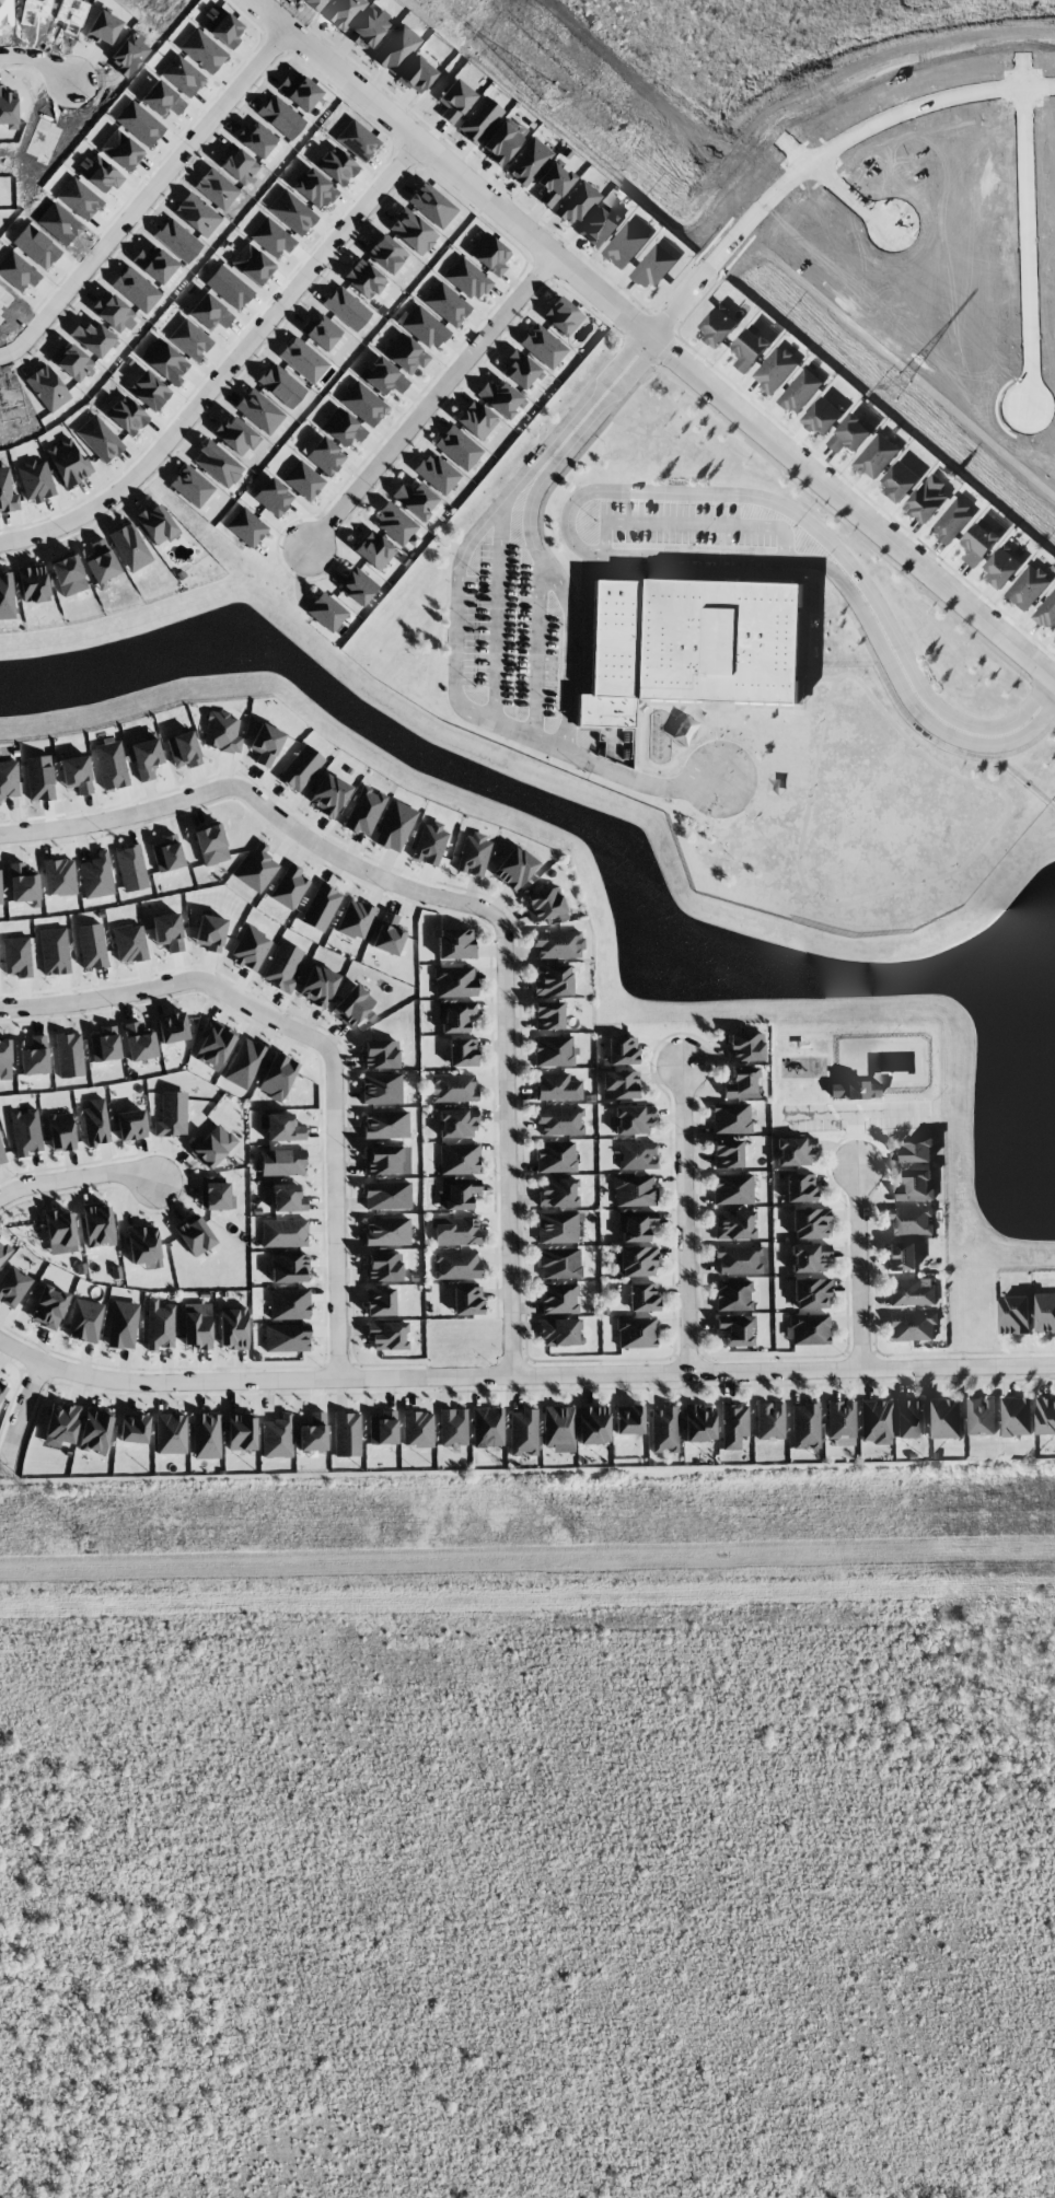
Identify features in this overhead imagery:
building: (343, 12)
power tower: (467, 24)
building: (221, 26)
building: (103, 27)
building: (369, 28)
building: (396, 48)
road: (38, 65)
road: (334, 73)
building: (416, 74)
building: (182, 75)
building: (299, 92)
building: (162, 98)
building: (454, 100)
building: (8, 109)
building: (280, 117)
building: (478, 119)
building: (138, 123)
road: (857, 130)
building: (256, 139)
building: (357, 140)
building: (502, 140)
building: (118, 149)
building: (527, 161)
building: (237, 164)
building: (336, 165)
building: (98, 172)
building: (554, 182)
road: (830, 185)
building: (313, 188)
road: (146, 201)
building: (577, 202)
building: (431, 205)
building: (291, 212)
building: (196, 214)
building: (601, 225)
road: (1021, 226)
building: (411, 231)
building: (271, 237)
building: (177, 240)
building: (35, 245)
building: (625, 245)
building: (385, 253)
building: (489, 254)
building: (252, 264)
building: (154, 265)
building: (653, 267)
building: (16, 271)
power tower: (762, 274)
building: (363, 279)
building: (467, 279)
building: (228, 287)
building: (136, 289)
road: (680, 302)
building: (447, 304)
building: (346, 307)
building: (209, 312)
building: (113, 313)
building: (561, 315)
building: (719, 325)
building: (422, 326)
building: (321, 330)
road: (262, 335)
building: (92, 337)
building: (189, 339)
building: (543, 346)
building: (746, 349)
building: (405, 353)
building: (164, 360)
building: (303, 360)
building: (72, 362)
building: (520, 369)
building: (774, 371)
building: (384, 377)
building: (281, 385)
building: (47, 387)
building: (148, 391)
building: (798, 392)
building: (501, 398)
road: (430, 399)
building: (363, 403)
road: (594, 406)
building: (258, 410)
building: (823, 415)
building: (475, 419)
building: (343, 427)
building: (234, 434)
building: (850, 435)
building: (98, 439)
road: (777, 442)
building: (457, 447)
building: (323, 455)
building: (874, 456)
building: (68, 463)
building: (217, 464)
building: (437, 473)
building: (35, 480)
building: (303, 480)
building: (900, 480)
building: (190, 486)
building: (7, 491)
building: (273, 497)
building: (415, 499)
building: (926, 501)
power tower: (1052, 520)
building: (394, 523)
road: (561, 523)
building: (950, 523)
building: (155, 524)
building: (246, 526)
building: (129, 546)
building: (976, 547)
building: (373, 549)
building: (101, 562)
building: (999, 569)
building: (68, 574)
building: (33, 584)
building: (356, 585)
building: (1028, 589)
building: (7, 595)
building: (326, 612)
building: (1046, 613)
building: (687, 644)
building: (586, 653)
building: (802, 689)
road: (919, 699)
building: (221, 732)
road: (514, 740)
building: (265, 744)
building: (183, 749)
building: (146, 758)
building: (111, 765)
building: (300, 768)
building: (76, 774)
building: (38, 778)
building: (8, 779)
road: (634, 780)
road: (228, 786)
building: (328, 794)
building: (363, 811)
building: (395, 826)
building: (430, 842)
building: (210, 844)
building: (166, 853)
building: (473, 854)
building: (131, 868)
building: (256, 868)
building: (514, 869)
building: (96, 875)
building: (58, 876)
building: (23, 883)
building: (289, 886)
building: (0, 889)
building: (544, 903)
building: (321, 907)
building: (356, 919)
building: (167, 931)
building: (210, 932)
building: (387, 934)
building: (129, 943)
building: (455, 943)
building: (557, 944)
building: (91, 945)
building: (251, 949)
building: (54, 951)
building: (16, 956)
building: (282, 966)
building: (553, 980)
building: (454, 981)
building: (317, 986)
building: (352, 1005)
building: (455, 1015)
building: (548, 1015)
building: (172, 1027)
building: (139, 1042)
building: (104, 1044)
building: (213, 1044)
building: (744, 1046)
building: (554, 1050)
building: (622, 1050)
building: (462, 1053)
building: (380, 1054)
building: (69, 1055)
building: (34, 1056)
building: (4, 1059)
building: (244, 1063)
building: (277, 1077)
building: (743, 1083)
building: (619, 1084)
building: (556, 1086)
building: (452, 1088)
building: (381, 1089)
building: (855, 1090)
road: (333, 1091)
road: (506, 1110)
building: (172, 1114)
building: (730, 1118)
building: (633, 1119)
building: (560, 1121)
building: (95, 1123)
building: (456, 1123)
building: (385, 1124)
building: (130, 1125)
building: (282, 1127)
building: (26, 1131)
building: (60, 1131)
building: (212, 1147)
building: (917, 1150)
building: (793, 1151)
building: (727, 1153)
building: (2, 1155)
building: (636, 1155)
building: (556, 1156)
building: (459, 1159)
building: (386, 1160)
building: (282, 1162)
road: (79, 1183)
building: (917, 1186)
building: (800, 1187)
building: (732, 1188)
building: (634, 1190)
building: (558, 1191)
building: (456, 1193)
building: (215, 1195)
building: (386, 1195)
building: (288, 1198)
road: (685, 1218)
building: (911, 1221)
building: (810, 1223)
building: (733, 1224)
building: (97, 1225)
building: (635, 1225)
building: (558, 1226)
building: (386, 1231)
building: (59, 1232)
building: (456, 1232)
building: (283, 1233)
building: (195, 1234)
building: (143, 1245)
building: (4, 1249)
building: (809, 1257)
building: (902, 1257)
building: (741, 1259)
building: (635, 1261)
building: (559, 1263)
building: (456, 1265)
building: (383, 1267)
road: (858, 1267)
building: (289, 1268)
building: (13, 1286)
building: (912, 1292)
building: (811, 1293)
building: (734, 1295)
building: (642, 1296)
building: (558, 1298)
building: (466, 1300)
building: (380, 1301)
building: (289, 1303)
building: (49, 1306)
building: (1044, 1313)
building: (1013, 1315)
building: (84, 1319)
building: (123, 1324)
building: (160, 1325)
building: (196, 1325)
building: (232, 1326)
building: (912, 1326)
building: (735, 1329)
building: (808, 1329)
building: (560, 1331)
building: (636, 1333)
building: (387, 1335)
building: (286, 1337)
road: (743, 1370)
road: (164, 1383)
building: (2, 1389)
road: (20, 1415)
building: (981, 1417)
building: (1016, 1417)
building: (1045, 1417)
building: (911, 1418)
building: (946, 1418)
building: (628, 1419)
building: (769, 1420)
building: (840, 1421)
building: (876, 1421)
building: (698, 1422)
building: (60, 1424)
building: (593, 1424)
building: (733, 1426)
building: (804, 1426)
building: (452, 1427)
building: (487, 1427)
building: (134, 1428)
building: (382, 1428)
building: (558, 1428)
building: (417, 1429)
building: (664, 1429)
building: (94, 1431)
building: (241, 1431)
building: (522, 1431)
building: (312, 1432)
building: (170, 1433)
building: (347, 1433)
building: (206, 1435)
building: (276, 1437)
power tower: (582, 1533)
power tower: (89, 1543)

